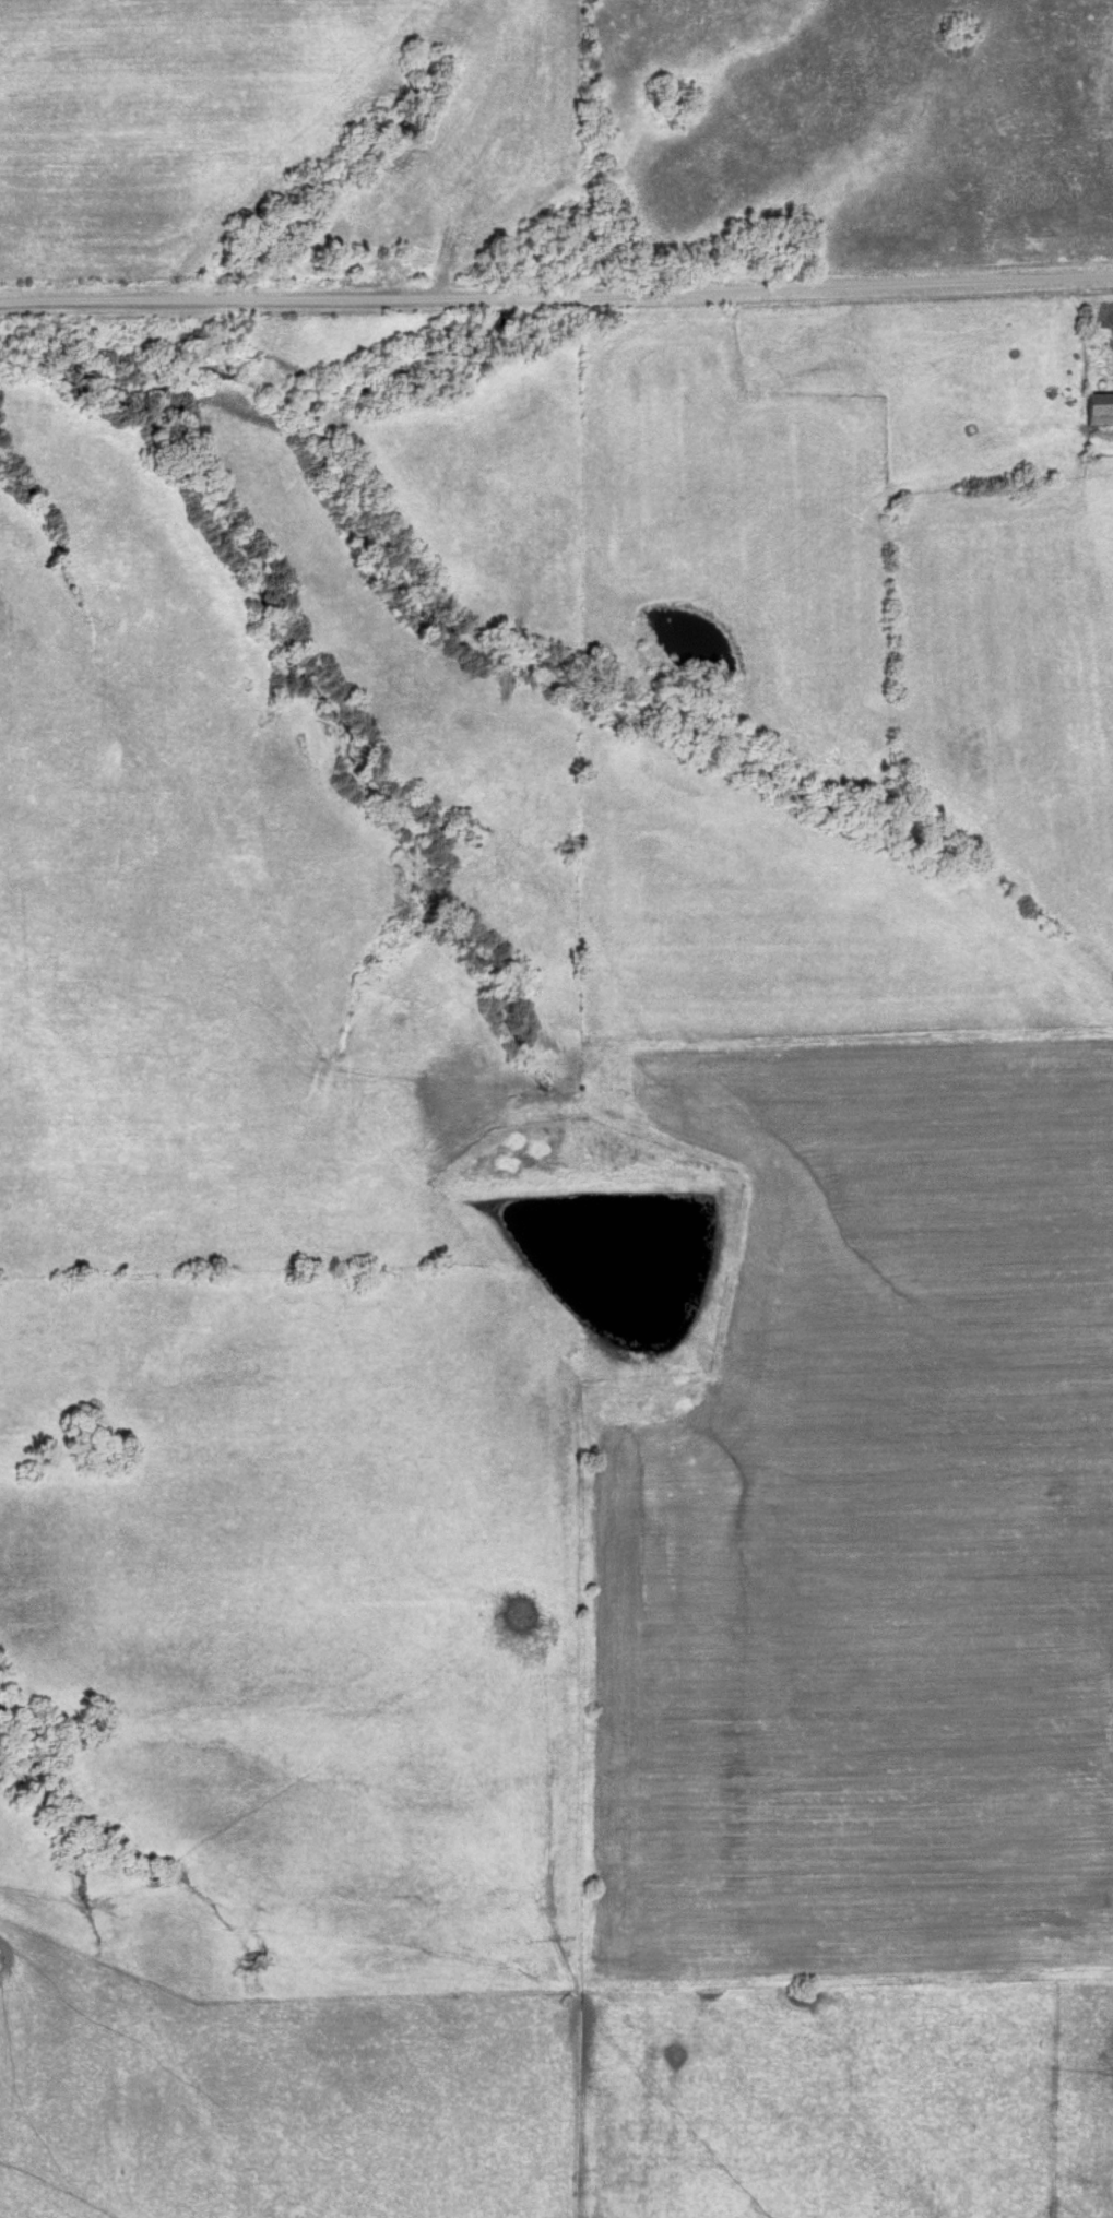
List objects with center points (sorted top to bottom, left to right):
road: (556, 292)
building: (1098, 410)

